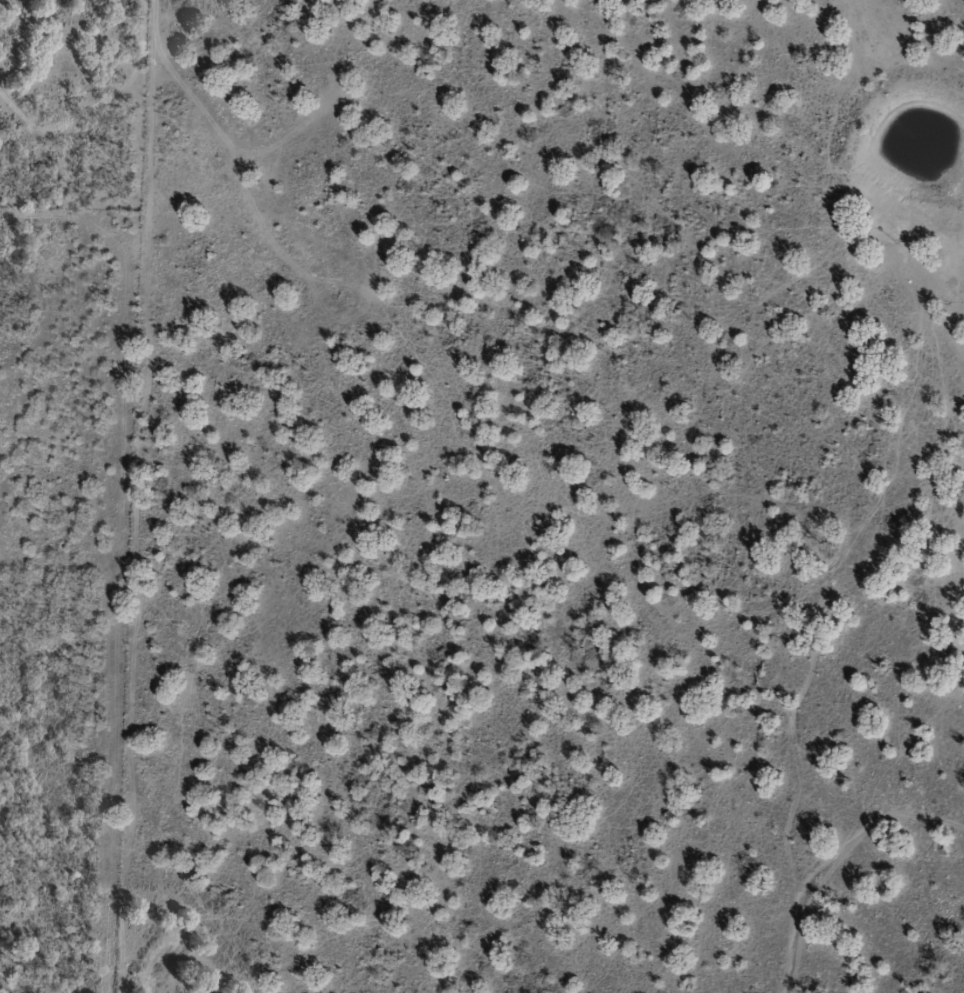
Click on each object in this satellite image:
road: (784, 639)

